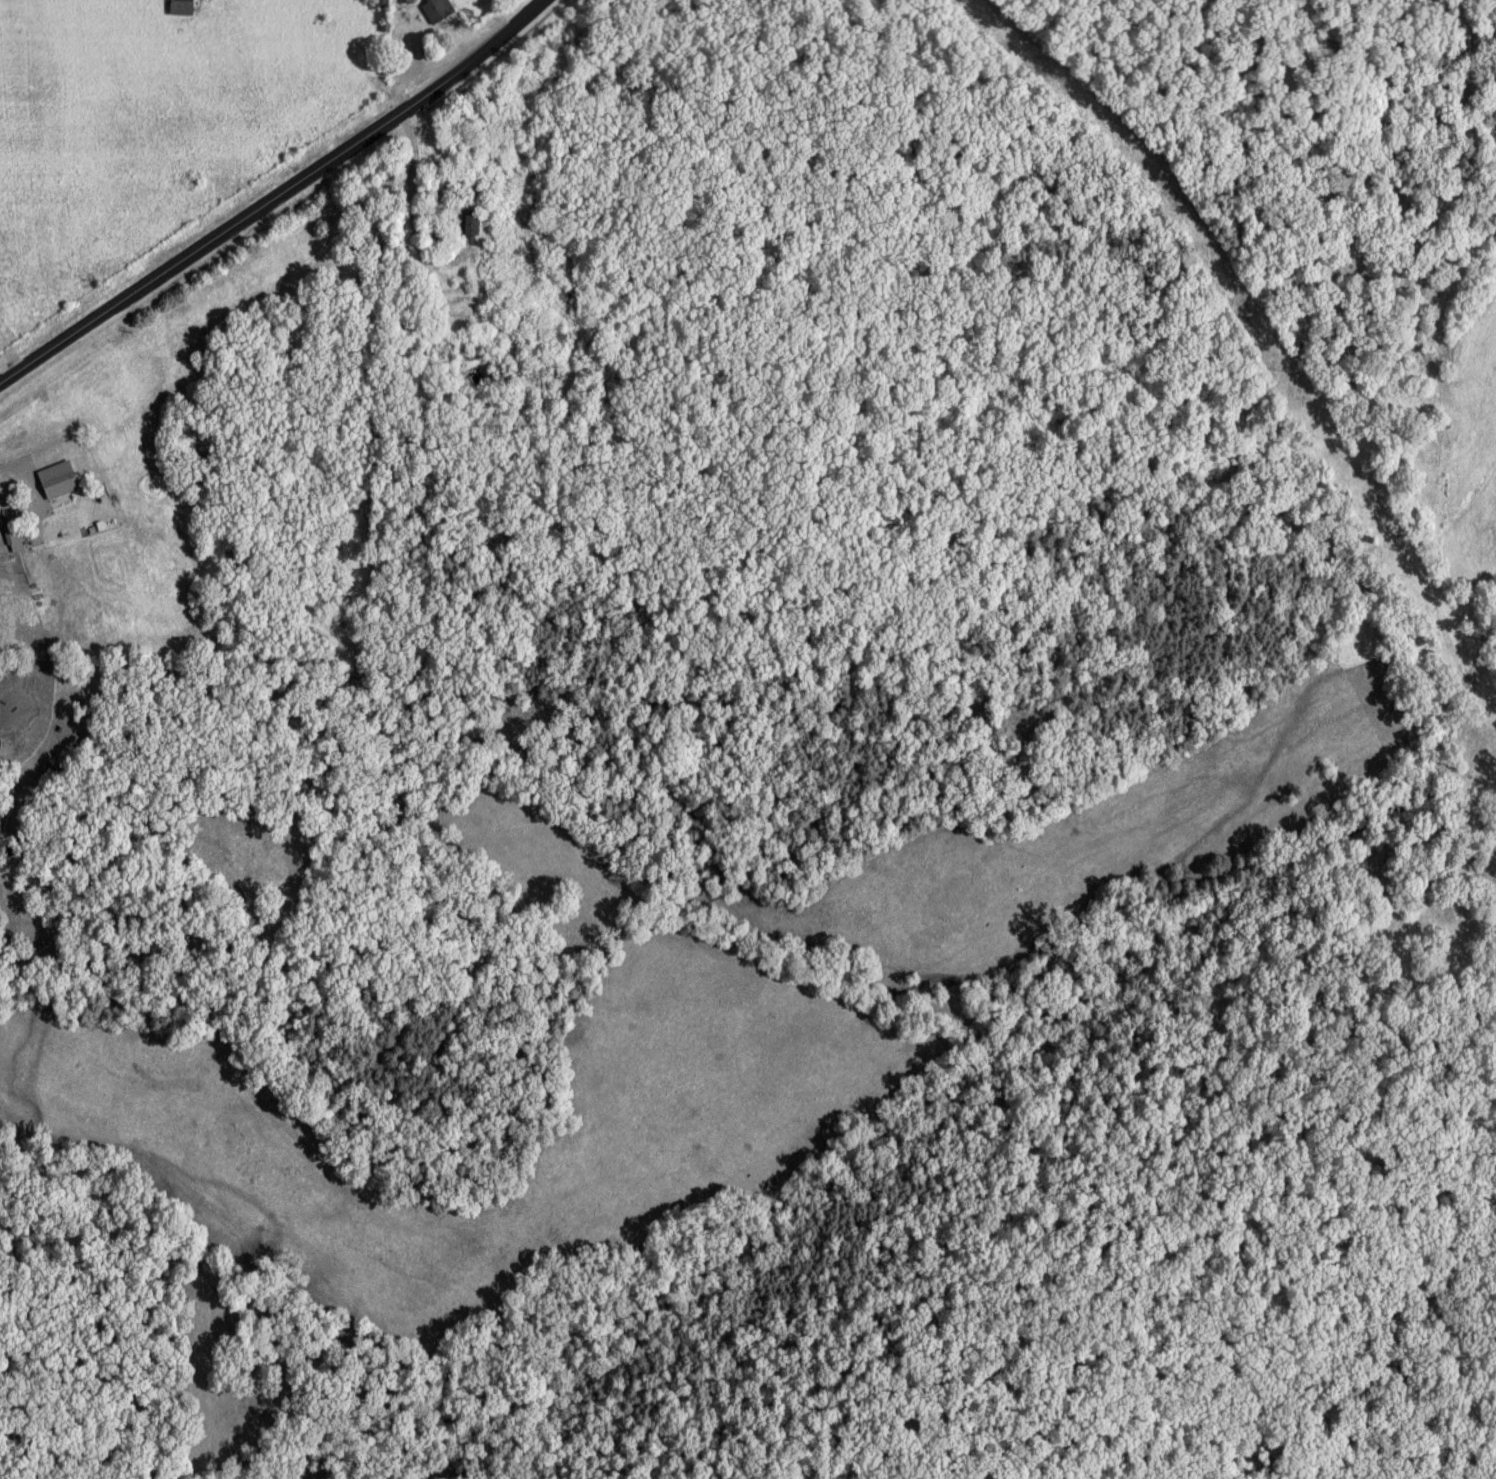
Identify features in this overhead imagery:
building: (185, 7)
building: (438, 9)
road: (281, 202)
building: (473, 226)
road: (915, 399)
building: (65, 465)
road: (6, 517)

